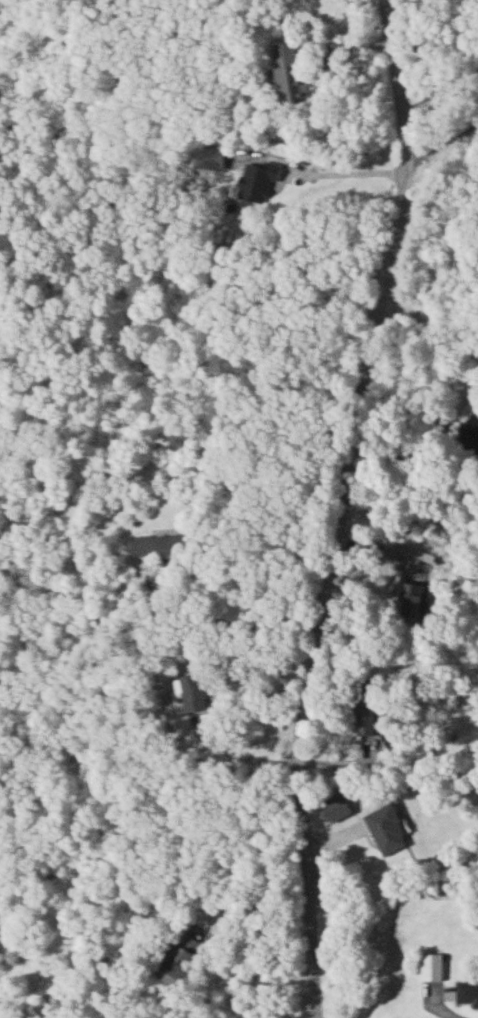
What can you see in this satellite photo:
building: (289, 72)
road: (390, 172)
building: (257, 178)
road: (427, 328)
road: (352, 509)
building: (152, 544)
building: (413, 600)
road: (217, 622)
building: (366, 715)
building: (389, 830)
building: (179, 961)
building: (434, 967)
building: (468, 992)
road: (7, 997)
road: (455, 1015)

